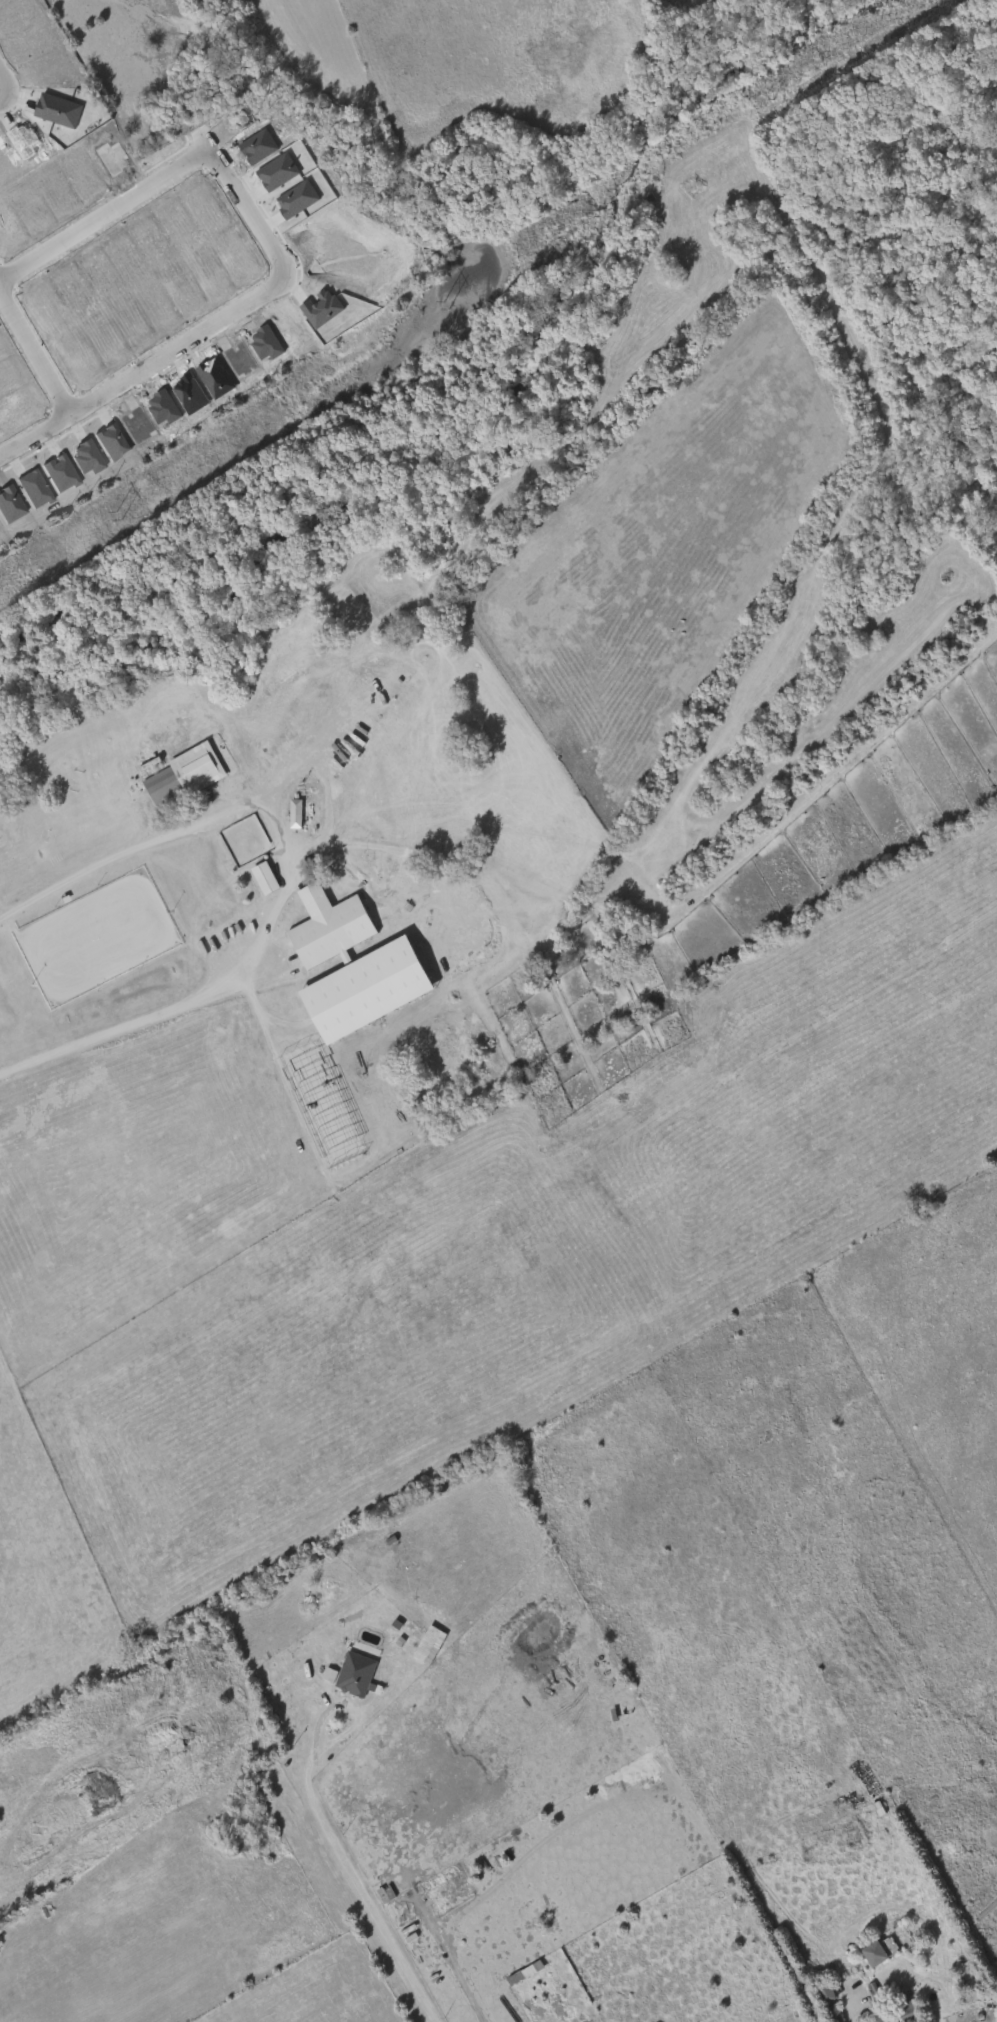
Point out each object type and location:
road: (4, 86)
road: (4, 96)
power tower: (769, 96)
building: (59, 111)
building: (297, 199)
road: (103, 213)
road: (246, 213)
power tower: (449, 303)
building: (322, 309)
road: (33, 352)
road: (142, 364)
power tower: (118, 516)
building: (183, 773)
building: (295, 812)
road: (113, 855)
building: (264, 877)
road: (286, 891)
building: (327, 925)
road: (265, 975)
building: (363, 988)
road: (110, 1031)
building: (178, 1192)
building: (106, 1237)
building: (430, 1645)
building: (352, 1672)
road: (372, 1906)
building: (878, 1948)
building: (525, 1973)
building: (824, 1991)
road: (533, 2008)
building: (905, 2010)
building: (833, 2013)
road: (860, 2014)
building: (883, 2018)

